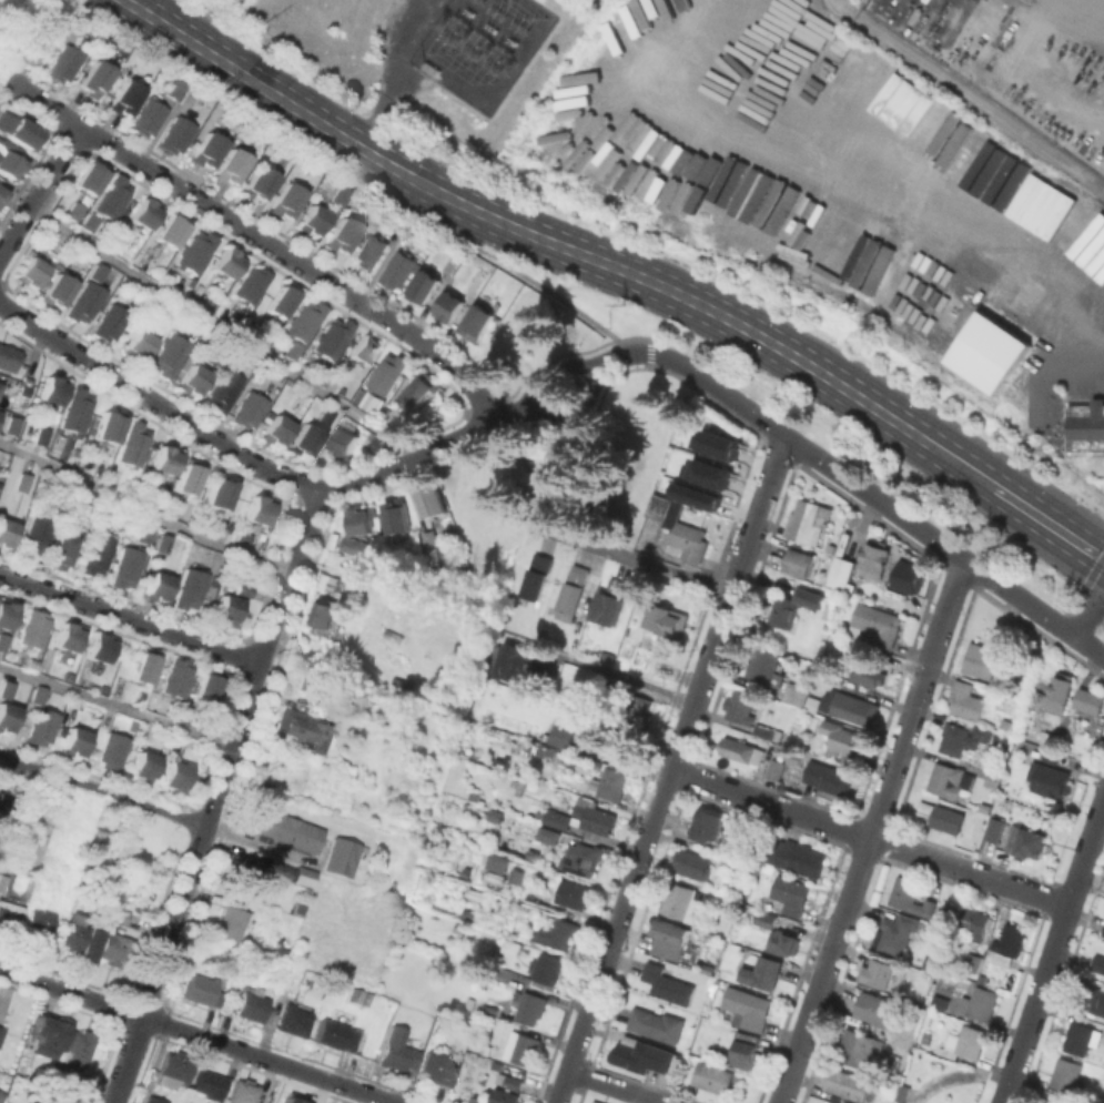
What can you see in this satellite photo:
building: (774, 0)
building: (788, 9)
building: (62, 18)
building: (813, 21)
building: (105, 41)
power substation: (480, 47)
building: (33, 48)
building: (428, 67)
building: (62, 68)
road: (398, 72)
building: (93, 82)
building: (173, 92)
road: (274, 93)
building: (892, 95)
road: (970, 95)
building: (124, 101)
building: (149, 122)
building: (19, 133)
building: (941, 134)
building: (176, 140)
building: (206, 154)
building: (10, 170)
building: (232, 170)
building: (89, 183)
building: (260, 189)
building: (1, 190)
road: (40, 192)
road: (908, 194)
building: (1, 198)
building: (340, 199)
building: (112, 201)
building: (285, 206)
building: (74, 214)
building: (143, 217)
building: (312, 223)
building: (90, 225)
building: (171, 236)
road: (262, 239)
building: (342, 240)
building: (371, 254)
building: (194, 256)
building: (870, 265)
building: (226, 267)
building: (398, 273)
building: (97, 275)
road: (524, 275)
building: (30, 276)
building: (252, 287)
building: (424, 291)
building: (57, 295)
building: (282, 304)
building: (84, 306)
building: (452, 310)
building: (306, 324)
building: (110, 326)
building: (477, 326)
road: (224, 330)
building: (332, 342)
road: (777, 346)
building: (138, 348)
road: (631, 350)
building: (986, 352)
building: (292, 354)
building: (364, 355)
road: (614, 356)
building: (170, 358)
building: (7, 362)
road: (555, 371)
road: (588, 372)
building: (387, 377)
building: (997, 383)
building: (192, 385)
building: (224, 393)
building: (422, 394)
building: (50, 395)
road: (521, 398)
road: (538, 398)
building: (366, 399)
road: (154, 403)
road: (574, 406)
road: (527, 411)
building: (77, 414)
building: (247, 414)
road: (499, 415)
building: (324, 421)
building: (12, 428)
building: (1087, 429)
building: (107, 433)
building: (276, 434)
building: (41, 439)
building: (717, 444)
building: (305, 445)
building: (344, 448)
building: (133, 449)
road: (406, 459)
building: (164, 465)
building: (100, 467)
building: (705, 472)
building: (188, 483)
building: (23, 486)
road: (540, 487)
building: (693, 495)
building: (219, 499)
road: (879, 499)
building: (90, 506)
building: (431, 508)
road: (144, 509)
building: (260, 515)
building: (357, 519)
building: (808, 519)
building: (102, 522)
building: (396, 523)
building: (679, 528)
building: (4, 538)
building: (145, 538)
building: (244, 539)
building: (34, 540)
building: (432, 544)
building: (163, 546)
building: (351, 546)
building: (829, 551)
building: (60, 556)
building: (872, 556)
building: (95, 557)
road: (631, 559)
building: (799, 561)
building: (128, 570)
building: (842, 571)
building: (905, 575)
building: (537, 576)
building: (574, 588)
building: (158, 593)
building: (191, 593)
building: (243, 593)
building: (614, 600)
building: (796, 605)
building: (826, 609)
building: (323, 614)
building: (226, 615)
road: (1090, 617)
road: (130, 618)
building: (667, 619)
building: (6, 621)
building: (878, 625)
building: (33, 633)
building: (67, 642)
building: (573, 645)
building: (2, 647)
building: (98, 654)
building: (982, 659)
building: (764, 664)
building: (521, 667)
building: (662, 668)
building: (142, 672)
building: (870, 672)
road: (626, 676)
building: (778, 678)
building: (176, 682)
building: (607, 682)
building: (1060, 690)
building: (7, 694)
building: (794, 694)
building: (206, 695)
building: (38, 699)
building: (966, 699)
road: (118, 705)
building: (742, 706)
building: (1091, 706)
building: (638, 709)
building: (852, 710)
building: (6, 722)
building: (812, 723)
building: (303, 729)
building: (41, 730)
building: (768, 730)
building: (561, 735)
building: (842, 737)
building: (963, 737)
building: (1049, 737)
building: (996, 739)
building: (627, 745)
building: (74, 748)
building: (741, 749)
building: (112, 753)
building: (1050, 753)
building: (793, 760)
road: (9, 761)
road: (29, 766)
road: (670, 768)
building: (776, 768)
building: (144, 770)
building: (174, 775)
building: (829, 777)
building: (993, 778)
building: (950, 779)
building: (1050, 779)
building: (610, 783)
road: (217, 795)
building: (475, 795)
road: (123, 796)
building: (2, 803)
building: (941, 816)
building: (494, 817)
building: (584, 817)
road: (1095, 824)
building: (994, 828)
road: (872, 831)
building: (709, 832)
building: (548, 834)
building: (291, 837)
road: (868, 839)
building: (1031, 842)
building: (534, 853)
building: (793, 857)
building: (581, 858)
building: (341, 862)
building: (495, 862)
building: (693, 862)
building: (249, 877)
road: (1077, 878)
building: (2, 881)
building: (517, 881)
building: (574, 894)
building: (790, 895)
building: (910, 895)
building: (680, 902)
building: (9, 914)
building: (119, 914)
building: (766, 919)
building: (39, 923)
building: (233, 923)
building: (973, 930)
building: (1102, 931)
building: (895, 933)
building: (75, 935)
building: (554, 938)
building: (1007, 943)
building: (670, 947)
building: (782, 949)
building: (118, 950)
building: (972, 961)
building: (1098, 962)
building: (548, 967)
building: (882, 974)
building: (769, 981)
building: (667, 989)
building: (203, 990)
road: (1039, 992)
building: (366, 996)
building: (1094, 996)
building: (979, 1002)
building: (253, 1003)
building: (748, 1006)
building: (531, 1008)
building: (879, 1016)
building: (294, 1021)
building: (657, 1024)
building: (51, 1030)
building: (2, 1032)
building: (341, 1034)
road: (196, 1035)
building: (1081, 1038)
building: (859, 1041)
building: (964, 1042)
building: (520, 1045)
building: (486, 1048)
building: (78, 1049)
building: (747, 1050)
building: (399, 1054)
building: (645, 1056)
building: (439, 1067)
building: (175, 1070)
building: (1066, 1074)
building: (712, 1077)
building: (211, 1083)
road: (617, 1086)
building: (845, 1086)
building: (512, 1087)
building: (244, 1091)
road: (1005, 1091)
building: (900, 1092)
building: (1, 1095)
building: (155, 1100)
building: (288, 1101)
building: (598, 1101)
building: (59, 1102)
building: (592, 1102)

